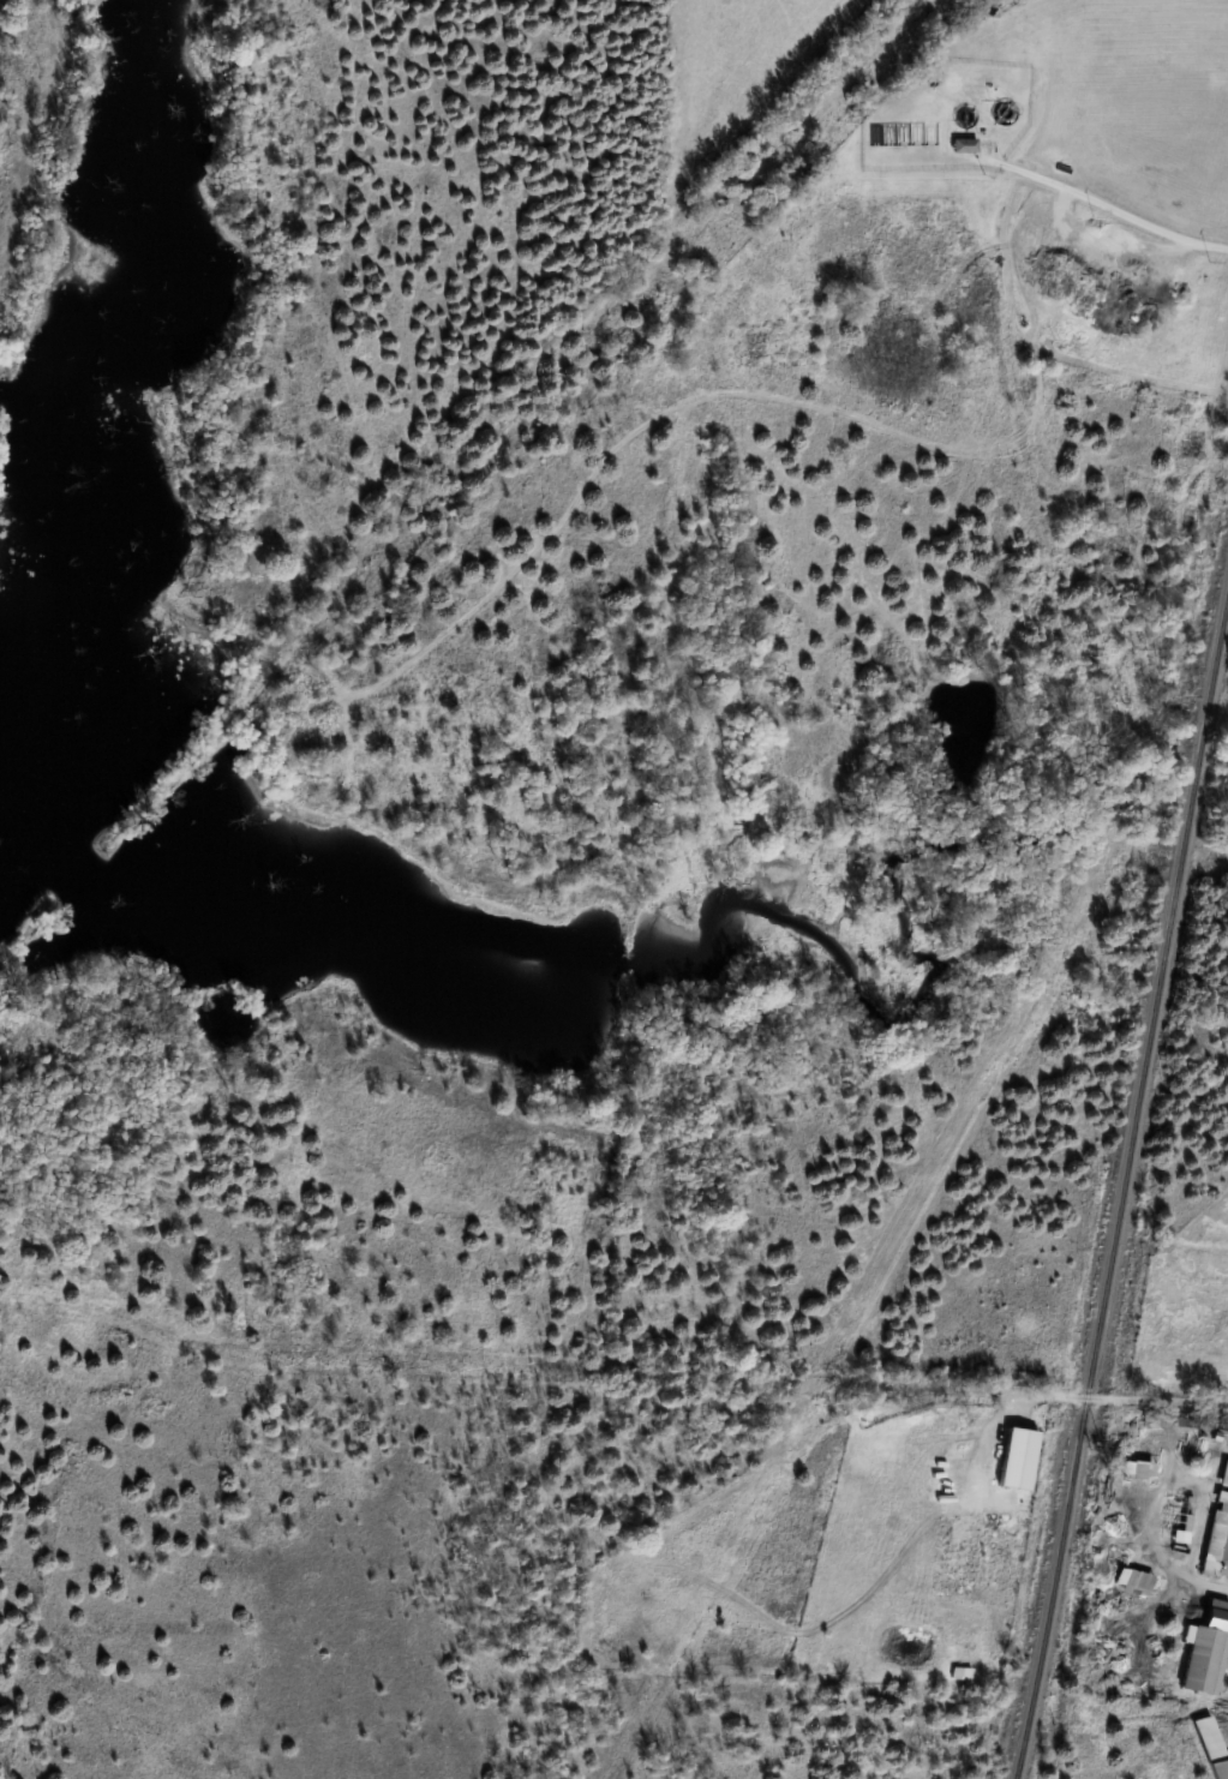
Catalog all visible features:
building: (964, 145)
road: (1102, 202)
railway: (1120, 1170)
road: (1047, 1392)
building: (1013, 1451)
building: (1223, 1534)
building: (1203, 1642)
building: (960, 1672)
building: (1210, 1743)

